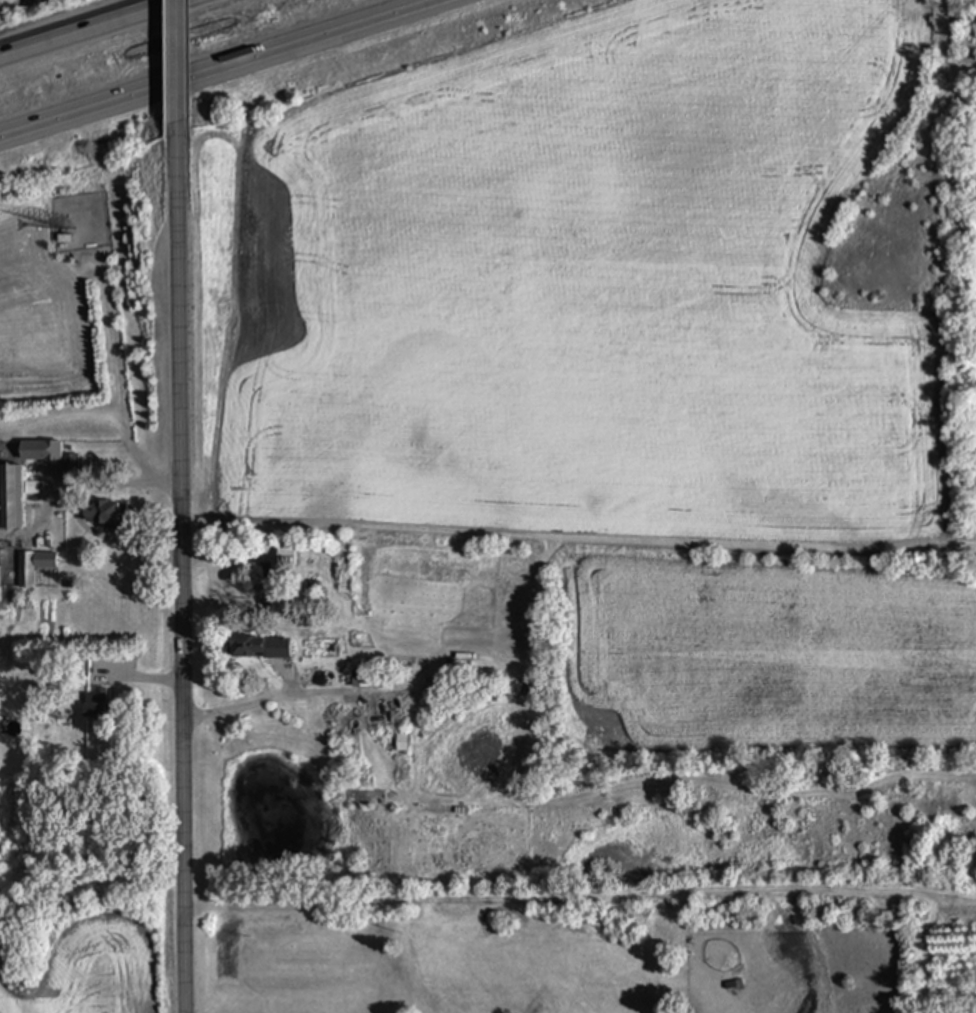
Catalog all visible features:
road: (99, 31)
road: (230, 72)
road: (183, 75)
building: (41, 451)
building: (71, 463)
building: (12, 497)
road: (77, 509)
building: (105, 512)
building: (287, 557)
building: (34, 566)
road: (190, 581)
building: (261, 647)
building: (96, 703)
road: (248, 704)
building: (386, 711)

